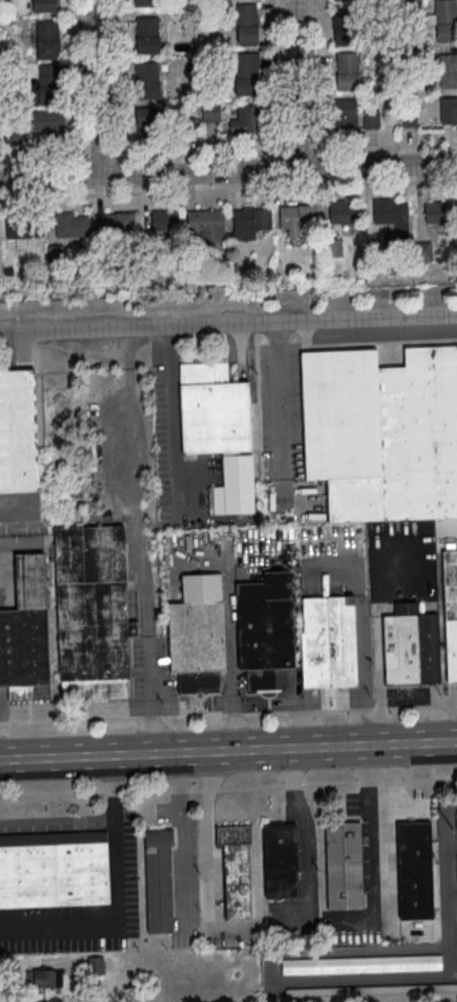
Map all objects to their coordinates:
building: (343, 0)
building: (144, 3)
building: (43, 5)
building: (445, 20)
building: (246, 22)
building: (342, 27)
building: (147, 35)
building: (48, 39)
building: (446, 70)
building: (348, 71)
building: (244, 74)
road: (313, 74)
road: (276, 75)
road: (114, 78)
road: (77, 79)
building: (147, 79)
building: (49, 83)
road: (294, 83)
road: (96, 87)
building: (447, 110)
building: (212, 112)
building: (344, 113)
building: (246, 119)
building: (371, 119)
building: (146, 121)
building: (47, 124)
building: (10, 134)
road: (228, 152)
road: (228, 170)
road: (228, 188)
building: (341, 212)
building: (436, 212)
building: (295, 216)
building: (162, 220)
building: (390, 221)
building: (247, 222)
building: (68, 224)
building: (112, 224)
building: (205, 225)
building: (21, 226)
building: (330, 247)
building: (53, 254)
road: (228, 322)
road: (129, 346)
road: (280, 411)
road: (173, 419)
building: (218, 430)
building: (382, 432)
building: (18, 446)
road: (138, 500)
parking lot: (399, 574)
building: (450, 610)
building: (91, 612)
road: (363, 626)
building: (266, 629)
building: (26, 632)
building: (197, 633)
road: (228, 636)
building: (329, 641)
building: (401, 644)
building: (428, 647)
road: (148, 693)
road: (228, 714)
road: (228, 750)
road: (228, 788)
building: (456, 819)
road: (60, 821)
road: (305, 828)
road: (374, 832)
road: (207, 833)
road: (187, 835)
road: (452, 845)
building: (281, 860)
road: (448, 862)
building: (344, 865)
building: (53, 869)
building: (415, 870)
building: (236, 871)
building: (159, 881)
road: (453, 889)
road: (122, 898)
road: (454, 931)
road: (350, 951)
road: (451, 962)
building: (361, 964)
building: (95, 965)
building: (45, 978)
road: (364, 978)
building: (372, 989)

